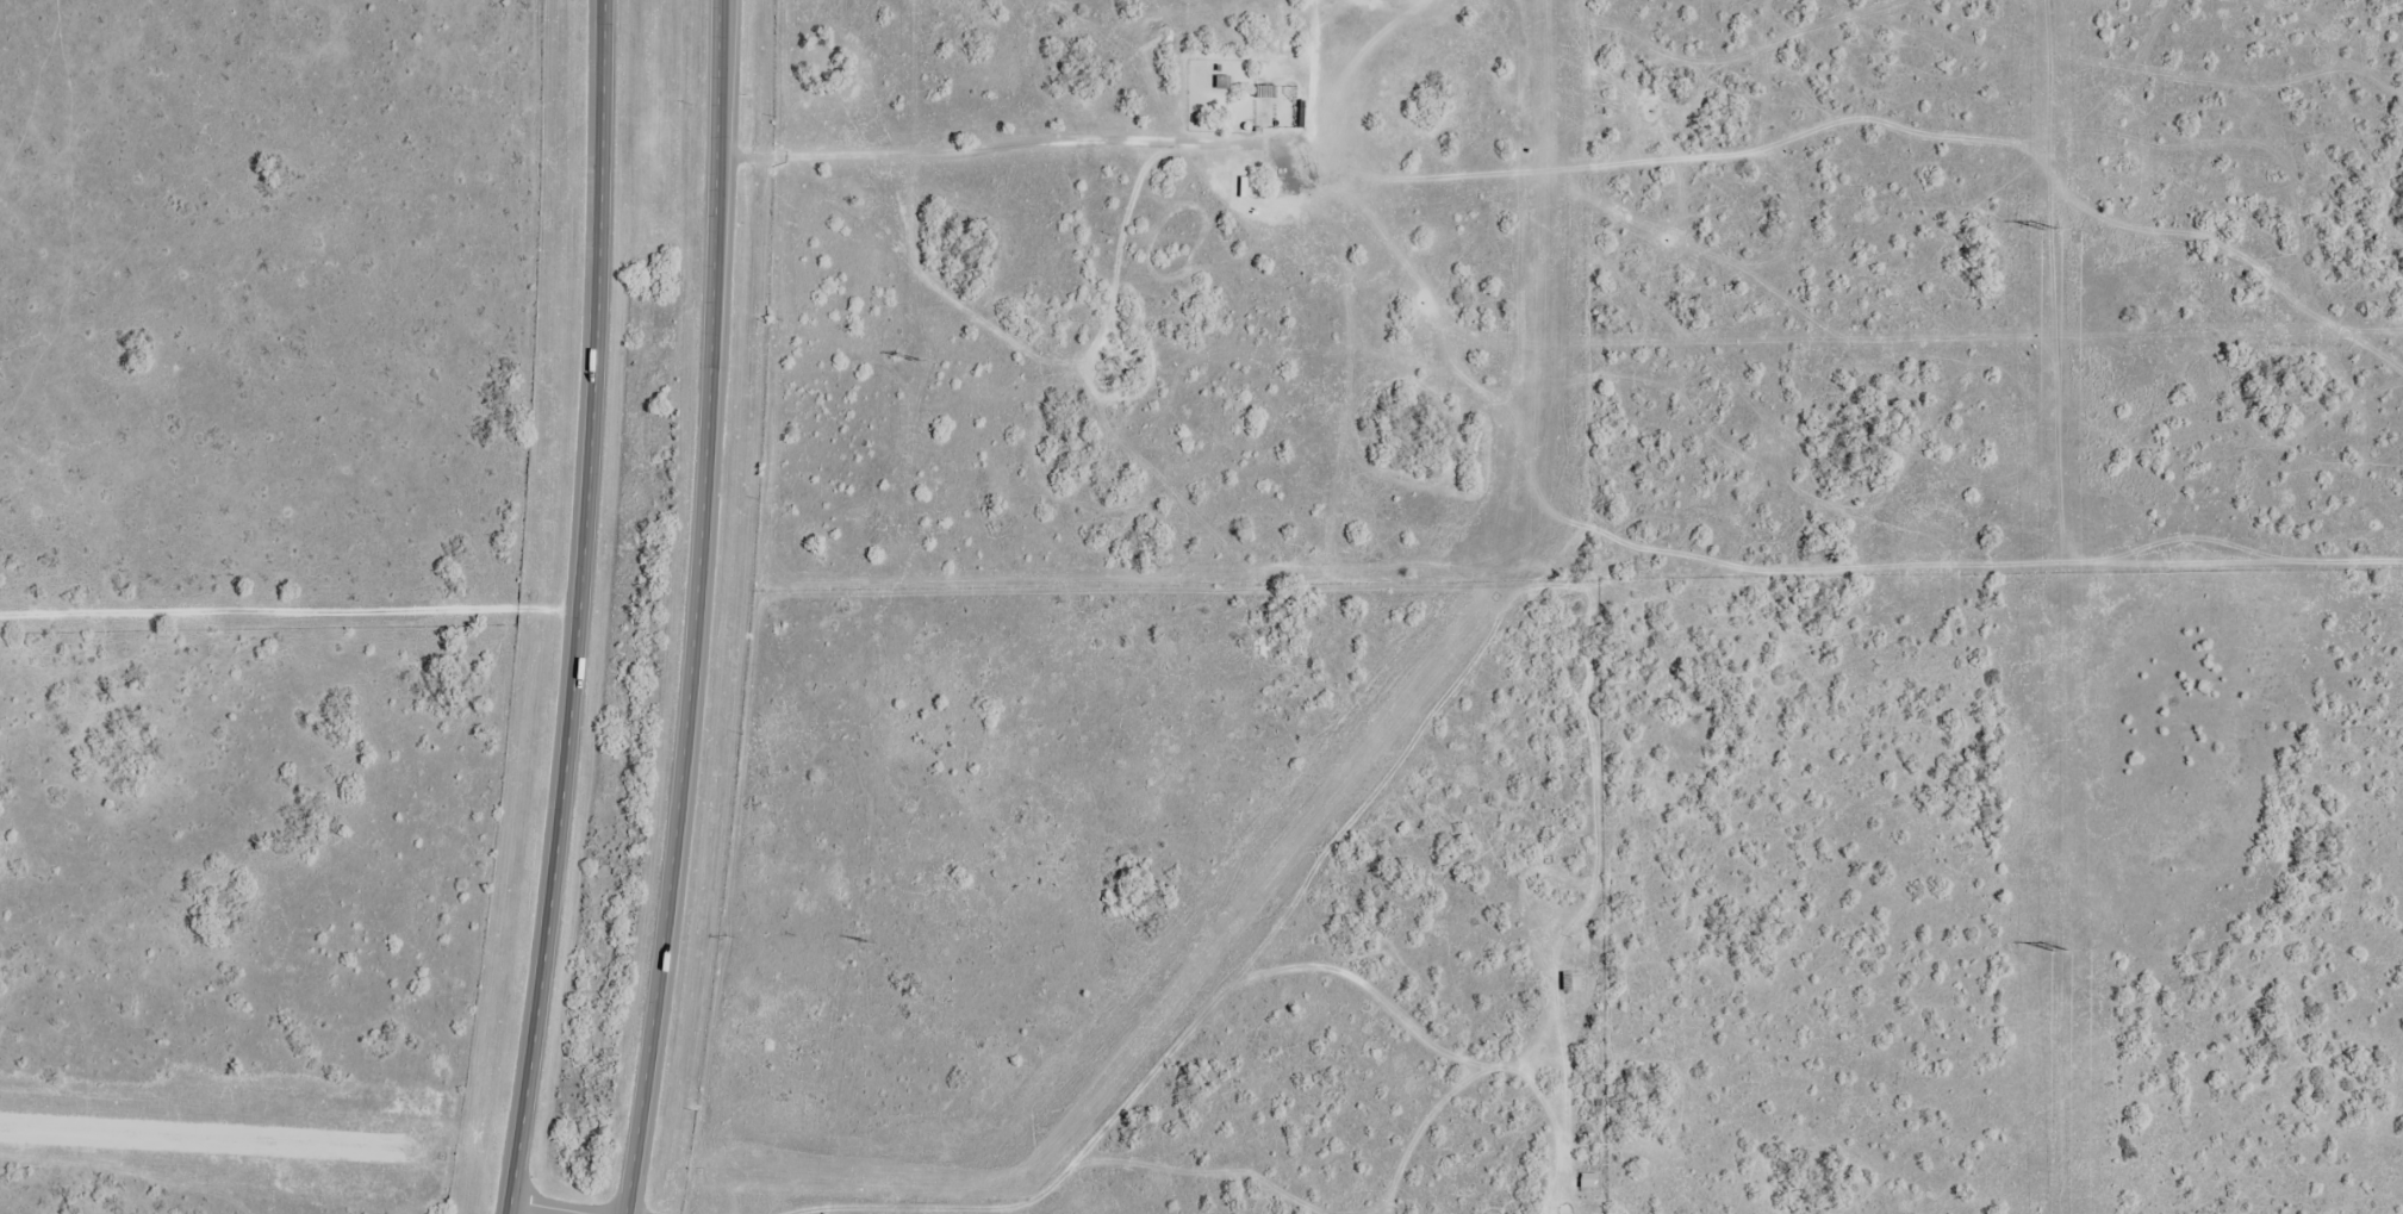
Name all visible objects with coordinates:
power tower: (2052, 228)
power tower: (916, 360)
road: (702, 608)
road: (590, 609)
road: (294, 618)
power tower: (867, 942)
power tower: (2059, 948)
building: (1573, 980)
building: (1592, 1179)
road: (558, 1207)

